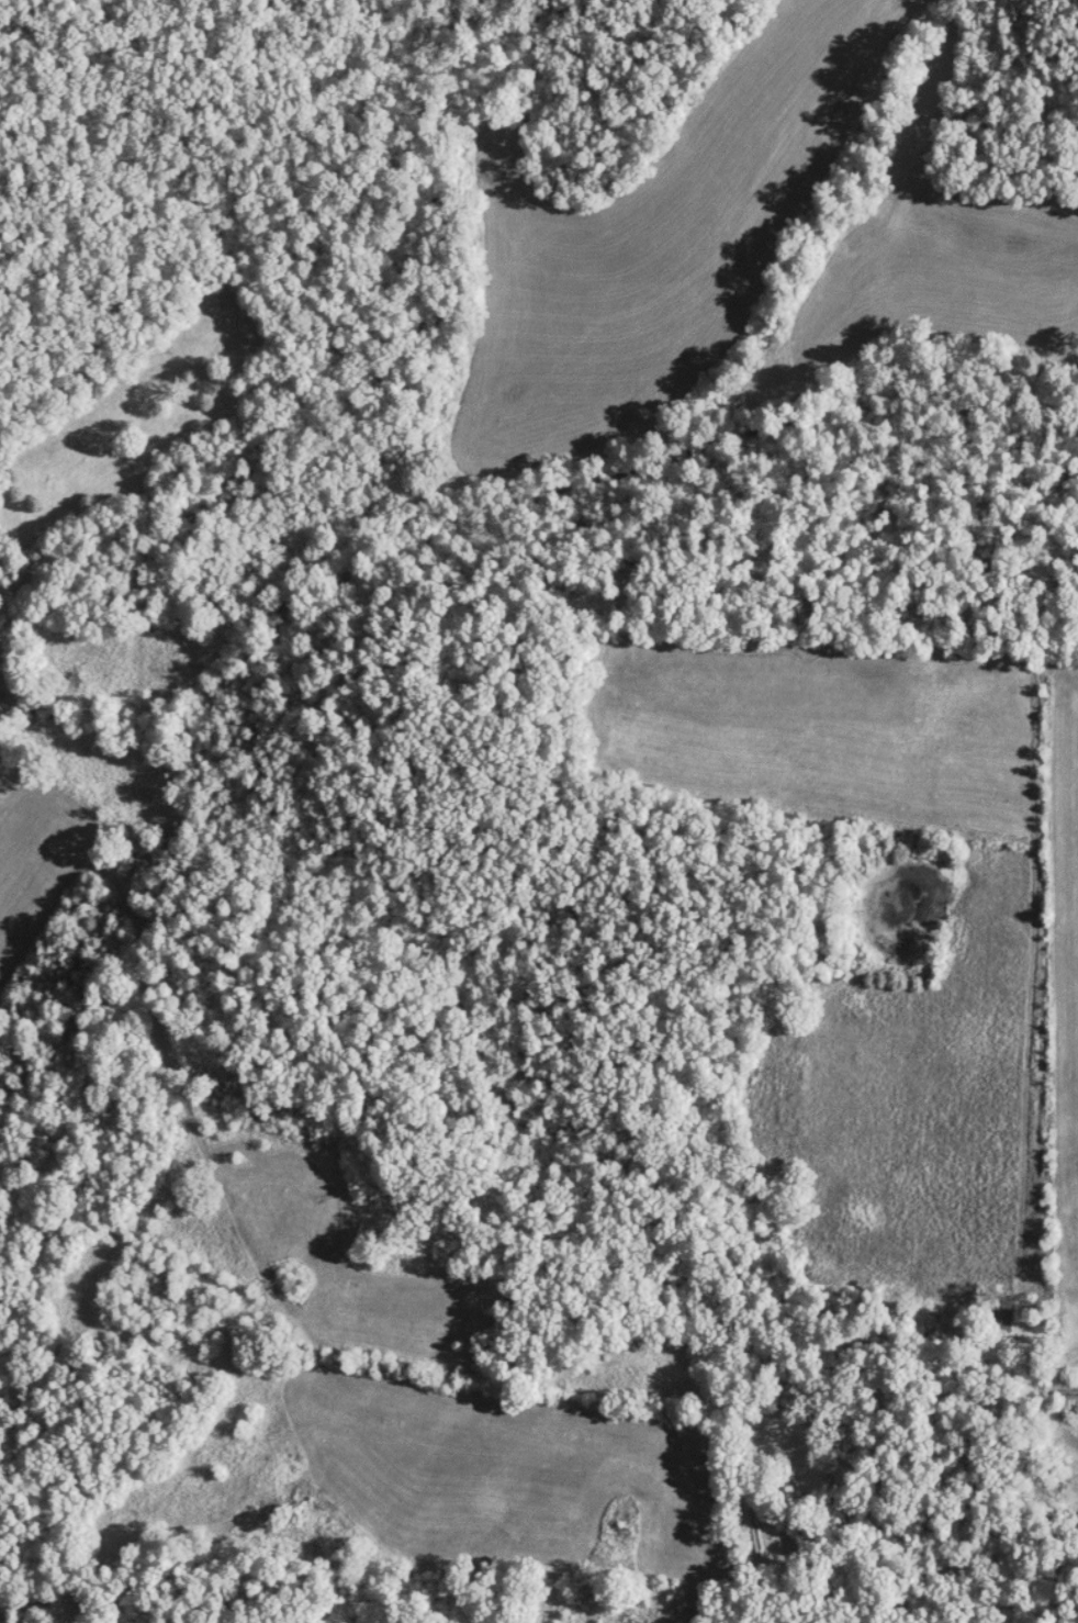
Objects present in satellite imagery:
building: (999, 1313)

